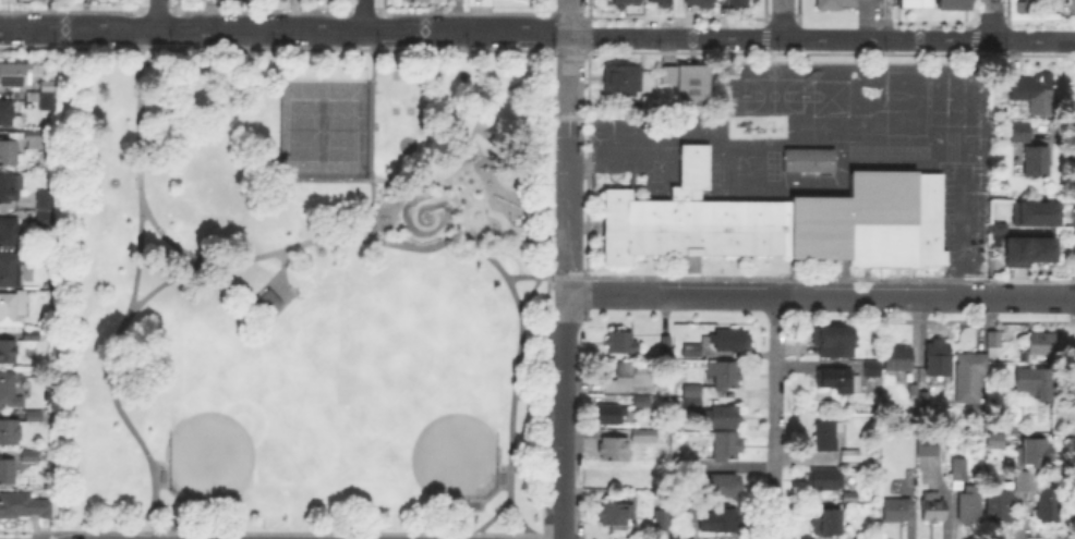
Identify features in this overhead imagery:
building: (627, 2)
building: (660, 2)
building: (699, 2)
building: (910, 2)
building: (951, 2)
building: (738, 3)
building: (835, 4)
building: (1072, 8)
road: (158, 14)
road: (364, 15)
road: (570, 17)
road: (677, 19)
road: (782, 20)
road: (887, 20)
road: (992, 20)
road: (390, 30)
road: (834, 39)
road: (939, 40)
road: (1034, 40)
building: (17, 74)
road: (569, 77)
building: (623, 79)
building: (694, 86)
building: (1031, 89)
building: (44, 95)
road: (372, 101)
building: (8, 115)
road: (482, 126)
park: (325, 128)
building: (1020, 133)
building: (38, 140)
building: (9, 154)
building: (810, 161)
building: (1038, 162)
road: (494, 179)
building: (10, 188)
road: (449, 197)
road: (568, 198)
road: (372, 205)
building: (46, 209)
building: (1035, 213)
building: (775, 221)
building: (995, 226)
building: (9, 234)
road: (342, 236)
road: (173, 243)
building: (1025, 249)
building: (10, 270)
road: (280, 273)
road: (536, 275)
park: (299, 290)
road: (529, 293)
road: (133, 294)
road: (672, 294)
road: (926, 295)
road: (567, 296)
building: (268, 298)
building: (12, 308)
building: (33, 335)
building: (730, 341)
building: (833, 342)
building: (621, 343)
building: (664, 343)
building: (993, 345)
building: (1039, 346)
building: (692, 351)
building: (8, 353)
building: (940, 359)
building: (899, 360)
building: (874, 369)
park: (370, 375)
road: (515, 377)
building: (630, 377)
building: (724, 377)
building: (970, 377)
building: (841, 382)
building: (1035, 383)
building: (9, 390)
building: (926, 390)
building: (692, 399)
building: (642, 402)
building: (608, 415)
building: (721, 417)
road: (774, 417)
building: (34, 418)
road: (566, 420)
building: (13, 434)
building: (645, 436)
building: (828, 436)
building: (995, 441)
park: (215, 442)
park: (437, 442)
building: (935, 446)
building: (726, 448)
building: (614, 450)
building: (850, 454)
building: (1035, 455)
building: (29, 457)
building: (959, 470)
building: (7, 473)
building: (826, 479)
building: (725, 486)
building: (850, 498)
building: (1041, 498)
building: (970, 503)
building: (1002, 506)
building: (26, 507)
building: (933, 509)
building: (896, 511)
building: (616, 514)
road: (170, 517)
building: (721, 520)
building: (666, 522)
building: (826, 524)
road: (565, 531)

